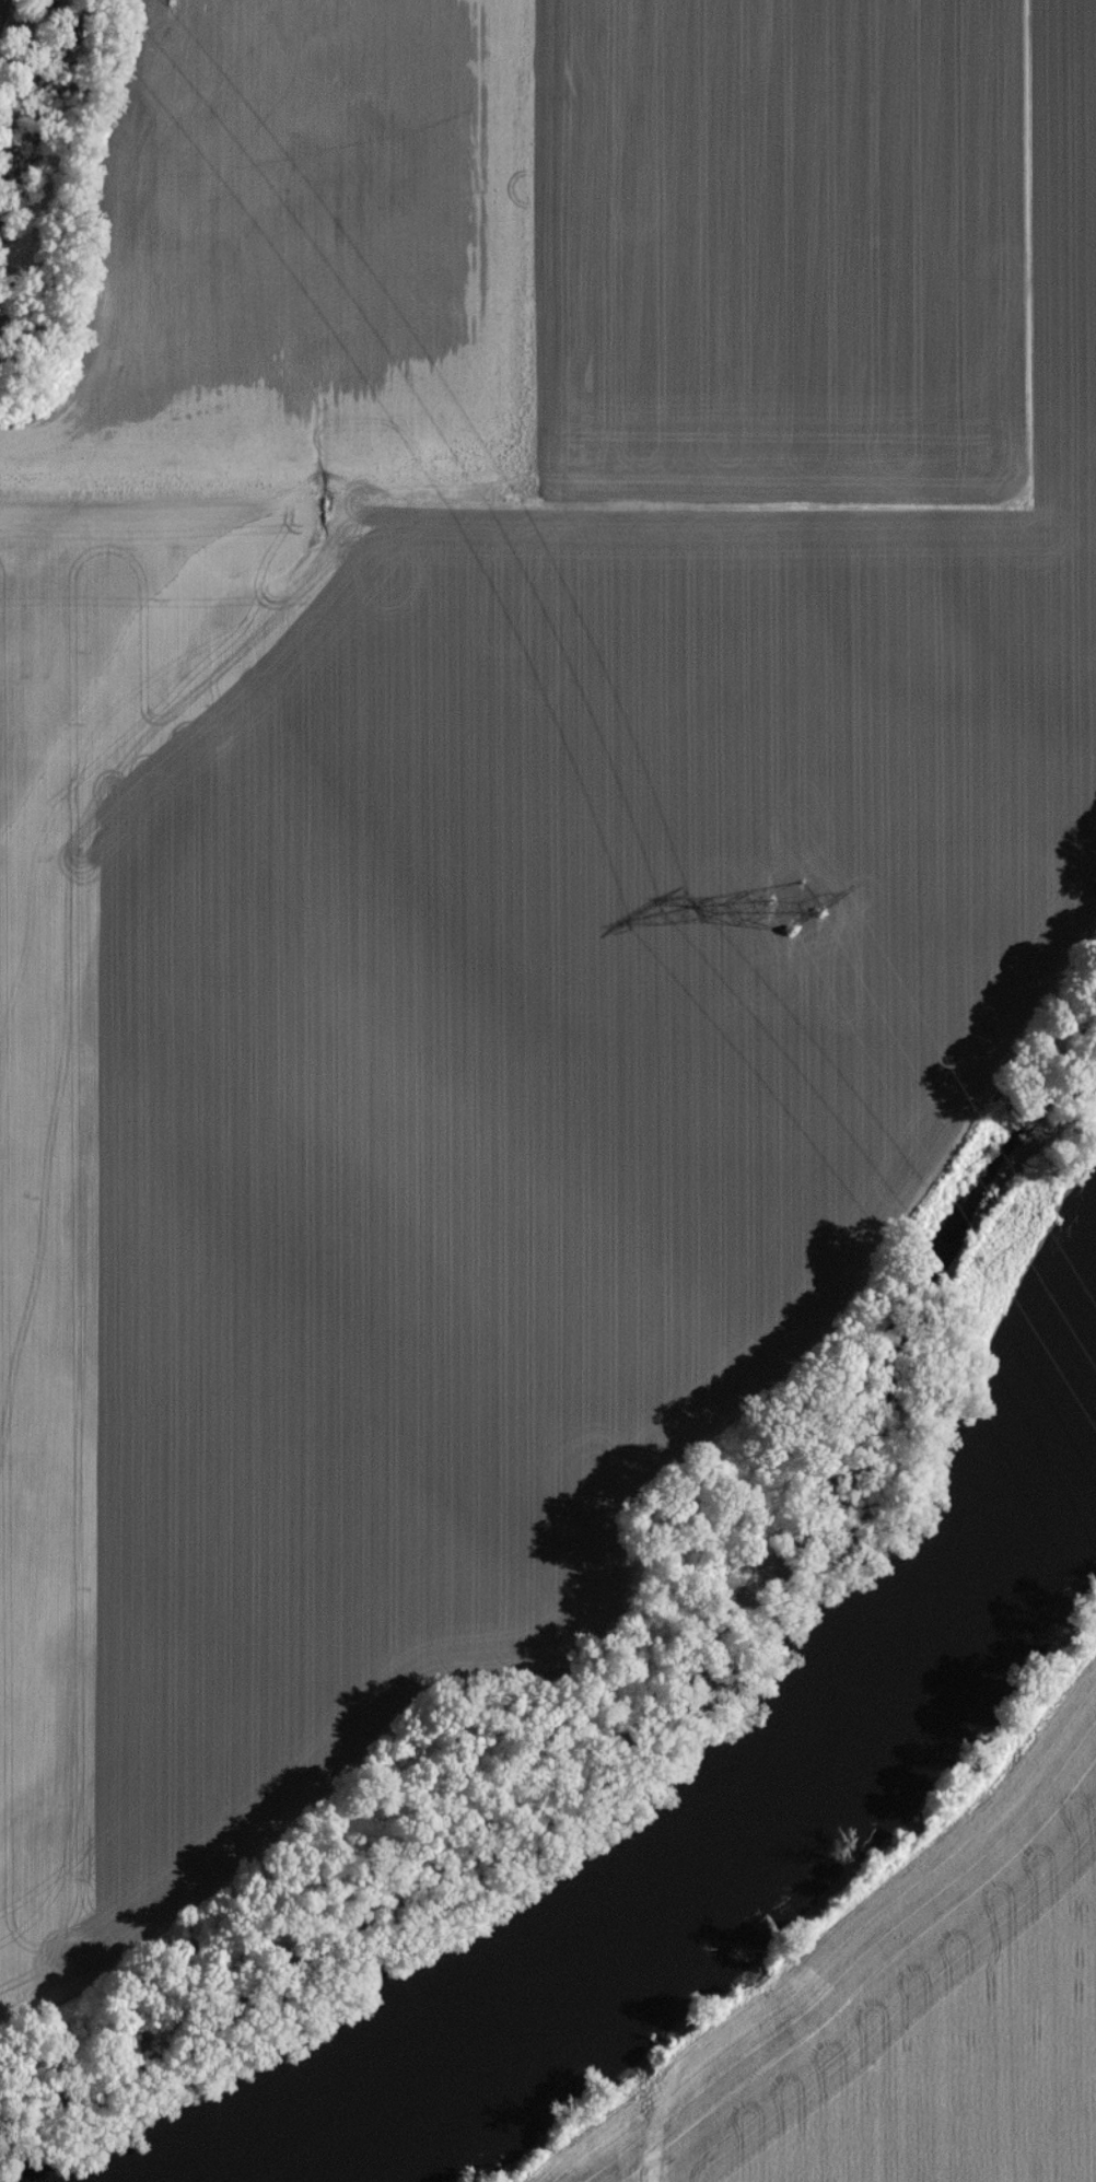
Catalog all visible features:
road: (1017, 506)
power tower: (795, 908)
river: (713, 1820)

